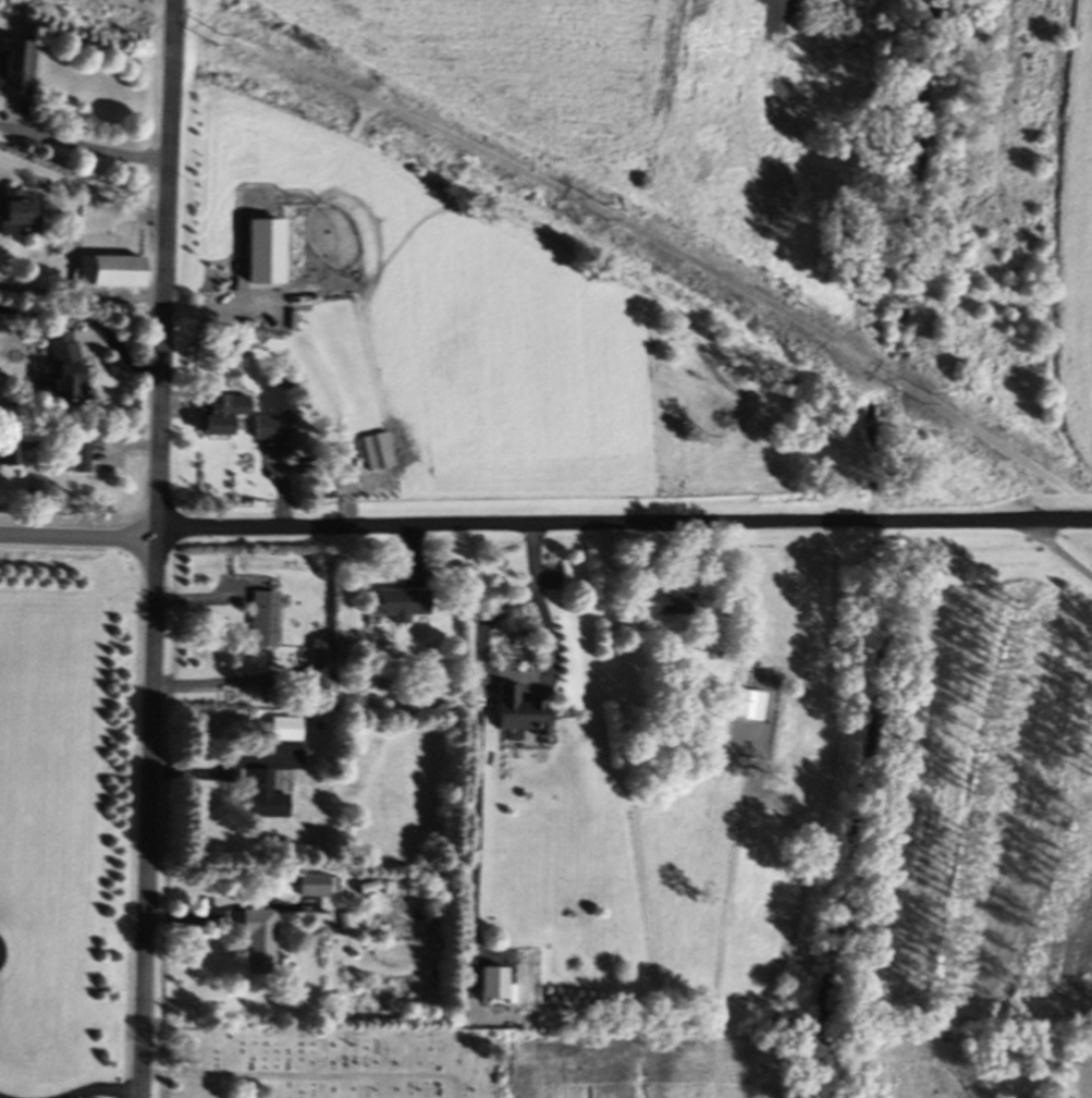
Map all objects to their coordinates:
power tower: (256, 62)
building: (20, 65)
road: (86, 151)
building: (22, 216)
power tower: (604, 216)
road: (168, 263)
building: (114, 274)
building: (66, 371)
power tower: (931, 404)
building: (226, 417)
building: (275, 431)
building: (8, 454)
building: (81, 460)
road: (625, 524)
road: (79, 525)
road: (1055, 554)
building: (395, 606)
building: (668, 607)
building: (266, 622)
building: (321, 656)
road: (540, 680)
building: (518, 713)
building: (286, 732)
road: (219, 768)
building: (267, 800)
road: (146, 812)
building: (315, 888)
building: (348, 923)
building: (260, 944)
building: (491, 985)
road: (98, 1090)

